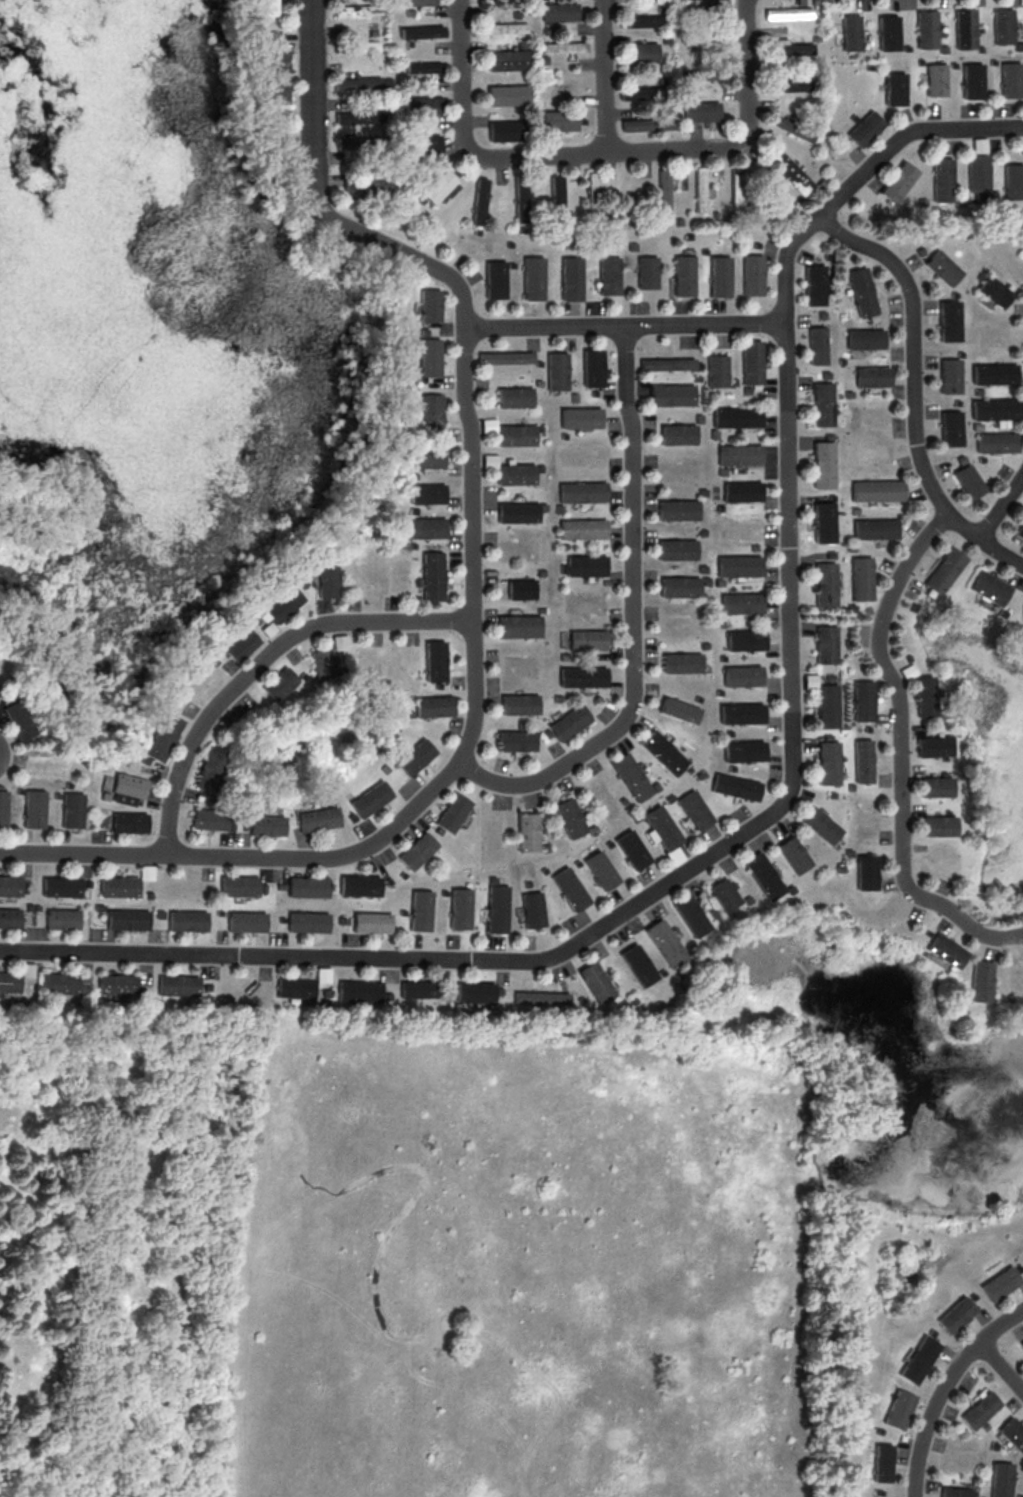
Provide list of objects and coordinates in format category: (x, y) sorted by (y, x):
building: (418, 2)
building: (704, 4)
building: (266, 7)
building: (358, 10)
building: (558, 11)
building: (787, 12)
building: (640, 20)
building: (1003, 26)
building: (504, 28)
building: (927, 28)
building: (965, 28)
building: (421, 31)
building: (851, 32)
building: (888, 32)
building: (365, 46)
building: (561, 47)
building: (790, 50)
building: (642, 51)
building: (506, 59)
building: (422, 67)
building: (277, 69)
road: (605, 76)
building: (936, 79)
building: (1011, 79)
building: (972, 81)
building: (358, 83)
building: (790, 85)
building: (895, 88)
building: (635, 93)
building: (508, 94)
building: (422, 105)
building: (700, 111)
building: (359, 117)
building: (557, 120)
building: (647, 124)
building: (789, 127)
building: (865, 128)
building: (503, 130)
building: (980, 143)
building: (426, 144)
road: (598, 153)
building: (790, 172)
building: (979, 176)
building: (944, 179)
building: (899, 181)
building: (1014, 181)
building: (369, 186)
building: (438, 186)
building: (700, 189)
building: (592, 190)
building: (735, 191)
building: (662, 193)
building: (519, 194)
building: (555, 197)
building: (478, 201)
building: (944, 267)
building: (646, 272)
building: (608, 275)
building: (683, 275)
building: (752, 275)
building: (719, 276)
building: (532, 278)
building: (570, 278)
building: (494, 279)
building: (815, 284)
building: (863, 291)
building: (994, 291)
building: (429, 305)
building: (950, 320)
road: (625, 326)
building: (865, 338)
building: (817, 345)
building: (429, 357)
building: (505, 357)
building: (751, 362)
building: (667, 363)
building: (592, 367)
building: (717, 370)
building: (557, 371)
building: (995, 373)
building: (951, 375)
building: (873, 376)
road: (913, 389)
building: (671, 394)
building: (515, 397)
building: (822, 404)
building: (996, 410)
building: (431, 413)
building: (580, 417)
building: (736, 417)
building: (488, 425)
building: (951, 428)
building: (678, 434)
building: (516, 435)
building: (996, 442)
building: (739, 454)
building: (428, 457)
building: (823, 464)
building: (516, 474)
building: (969, 481)
building: (877, 490)
building: (743, 491)
building: (582, 492)
building: (427, 493)
road: (1001, 505)
building: (679, 509)
building: (519, 512)
building: (823, 522)
building: (424, 528)
building: (583, 528)
building: (875, 528)
building: (1019, 531)
building: (679, 549)
building: (586, 565)
building: (740, 565)
building: (944, 570)
building: (432, 575)
building: (861, 578)
building: (326, 579)
building: (825, 583)
road: (471, 586)
building: (681, 586)
building: (989, 587)
building: (522, 588)
building: (742, 603)
building: (281, 605)
road: (634, 621)
building: (520, 625)
building: (589, 639)
building: (746, 639)
building: (339, 641)
building: (239, 644)
building: (826, 644)
building: (435, 660)
building: (322, 662)
building: (683, 662)
road: (260, 663)
building: (743, 675)
building: (584, 676)
building: (279, 683)
building: (924, 696)
building: (863, 700)
building: (520, 704)
building: (827, 705)
building: (433, 706)
building: (680, 709)
building: (742, 713)
building: (20, 720)
building: (571, 722)
building: (162, 737)
building: (517, 740)
building: (933, 745)
building: (744, 750)
building: (664, 752)
road: (900, 753)
building: (415, 756)
building: (862, 760)
building: (828, 762)
building: (632, 776)
building: (736, 786)
building: (936, 786)
building: (127, 788)
building: (370, 799)
road: (784, 800)
building: (3, 808)
building: (34, 809)
building: (694, 809)
building: (72, 810)
building: (453, 812)
building: (570, 817)
building: (317, 818)
building: (212, 819)
building: (128, 822)
building: (820, 824)
building: (265, 825)
building: (939, 825)
building: (661, 828)
building: (528, 831)
building: (632, 849)
building: (418, 850)
building: (793, 854)
building: (601, 870)
building: (866, 872)
building: (763, 875)
building: (10, 884)
building: (61, 885)
building: (119, 885)
building: (238, 885)
building: (359, 885)
building: (307, 887)
building: (570, 888)
building: (725, 894)
building: (460, 908)
building: (497, 908)
building: (533, 909)
building: (420, 910)
building: (692, 915)
building: (10, 916)
building: (62, 917)
building: (127, 917)
building: (186, 920)
building: (245, 921)
building: (307, 921)
building: (372, 922)
building: (666, 943)
building: (946, 950)
building: (638, 965)
building: (27, 969)
building: (9, 980)
building: (55, 980)
building: (981, 981)
building: (597, 982)
building: (116, 984)
building: (178, 985)
building: (296, 987)
building: (418, 988)
building: (360, 990)
building: (476, 992)
building: (542, 998)
building: (1019, 1268)
building: (1001, 1283)
building: (972, 1296)
building: (956, 1313)
building: (930, 1332)
building: (1022, 1342)
building: (916, 1359)
road: (1000, 1366)
road: (938, 1386)
building: (895, 1409)
building: (977, 1409)
building: (982, 1425)
building: (875, 1430)
building: (1012, 1433)
building: (992, 1445)
building: (878, 1462)
building: (1001, 1479)
building: (954, 1491)
building: (876, 1492)

